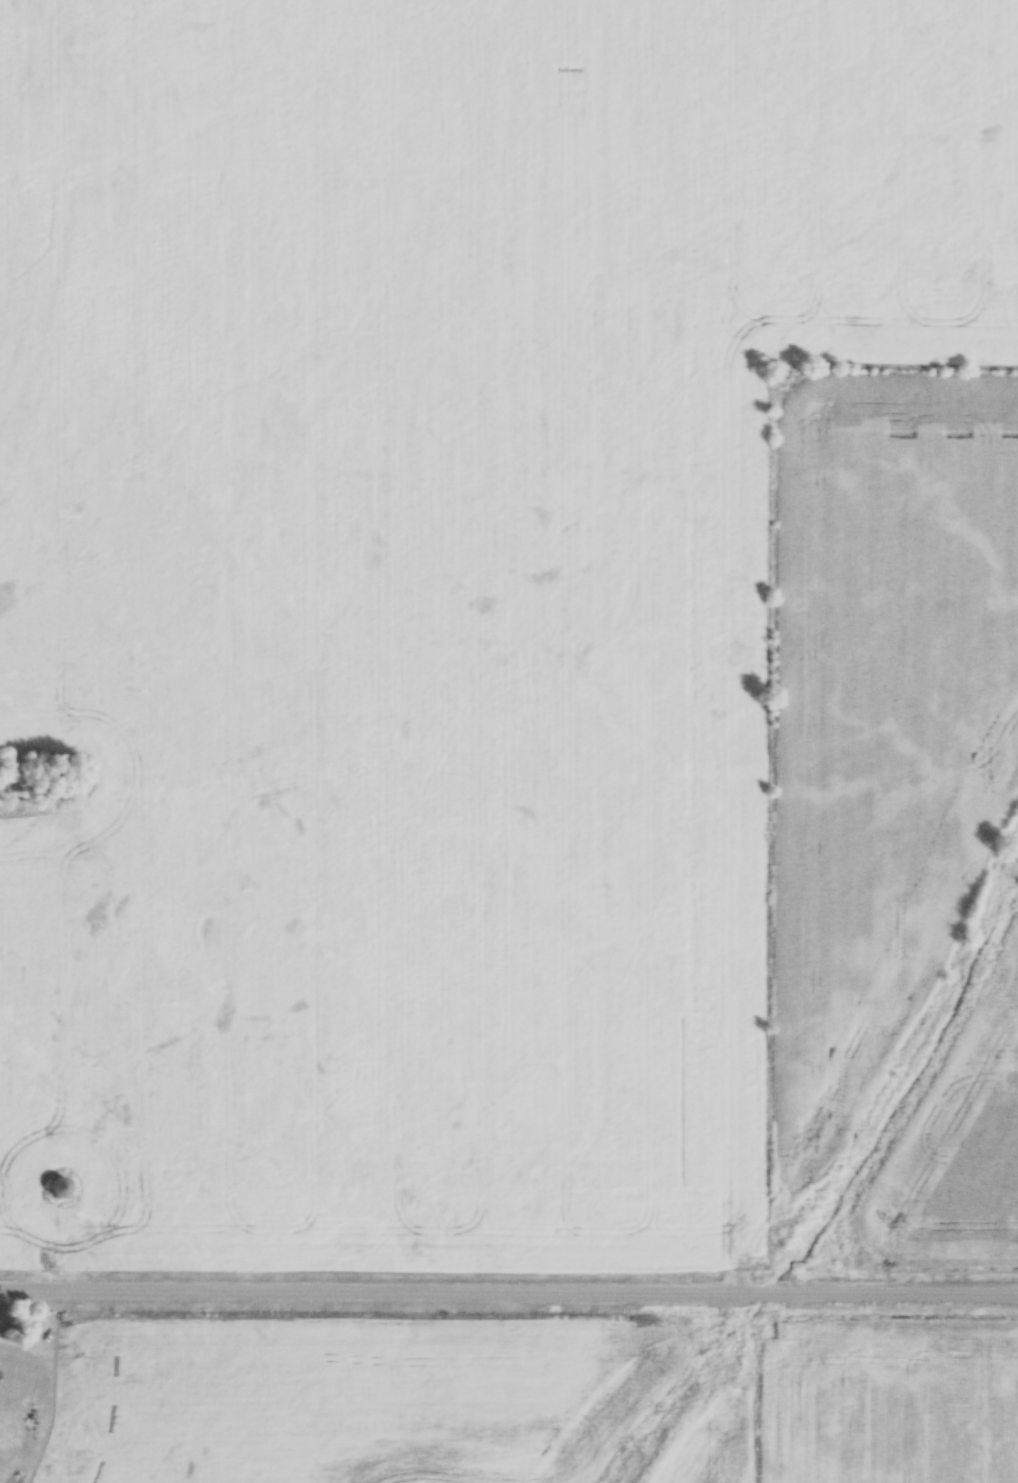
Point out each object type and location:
building: (57, 1188)
road: (508, 1296)

